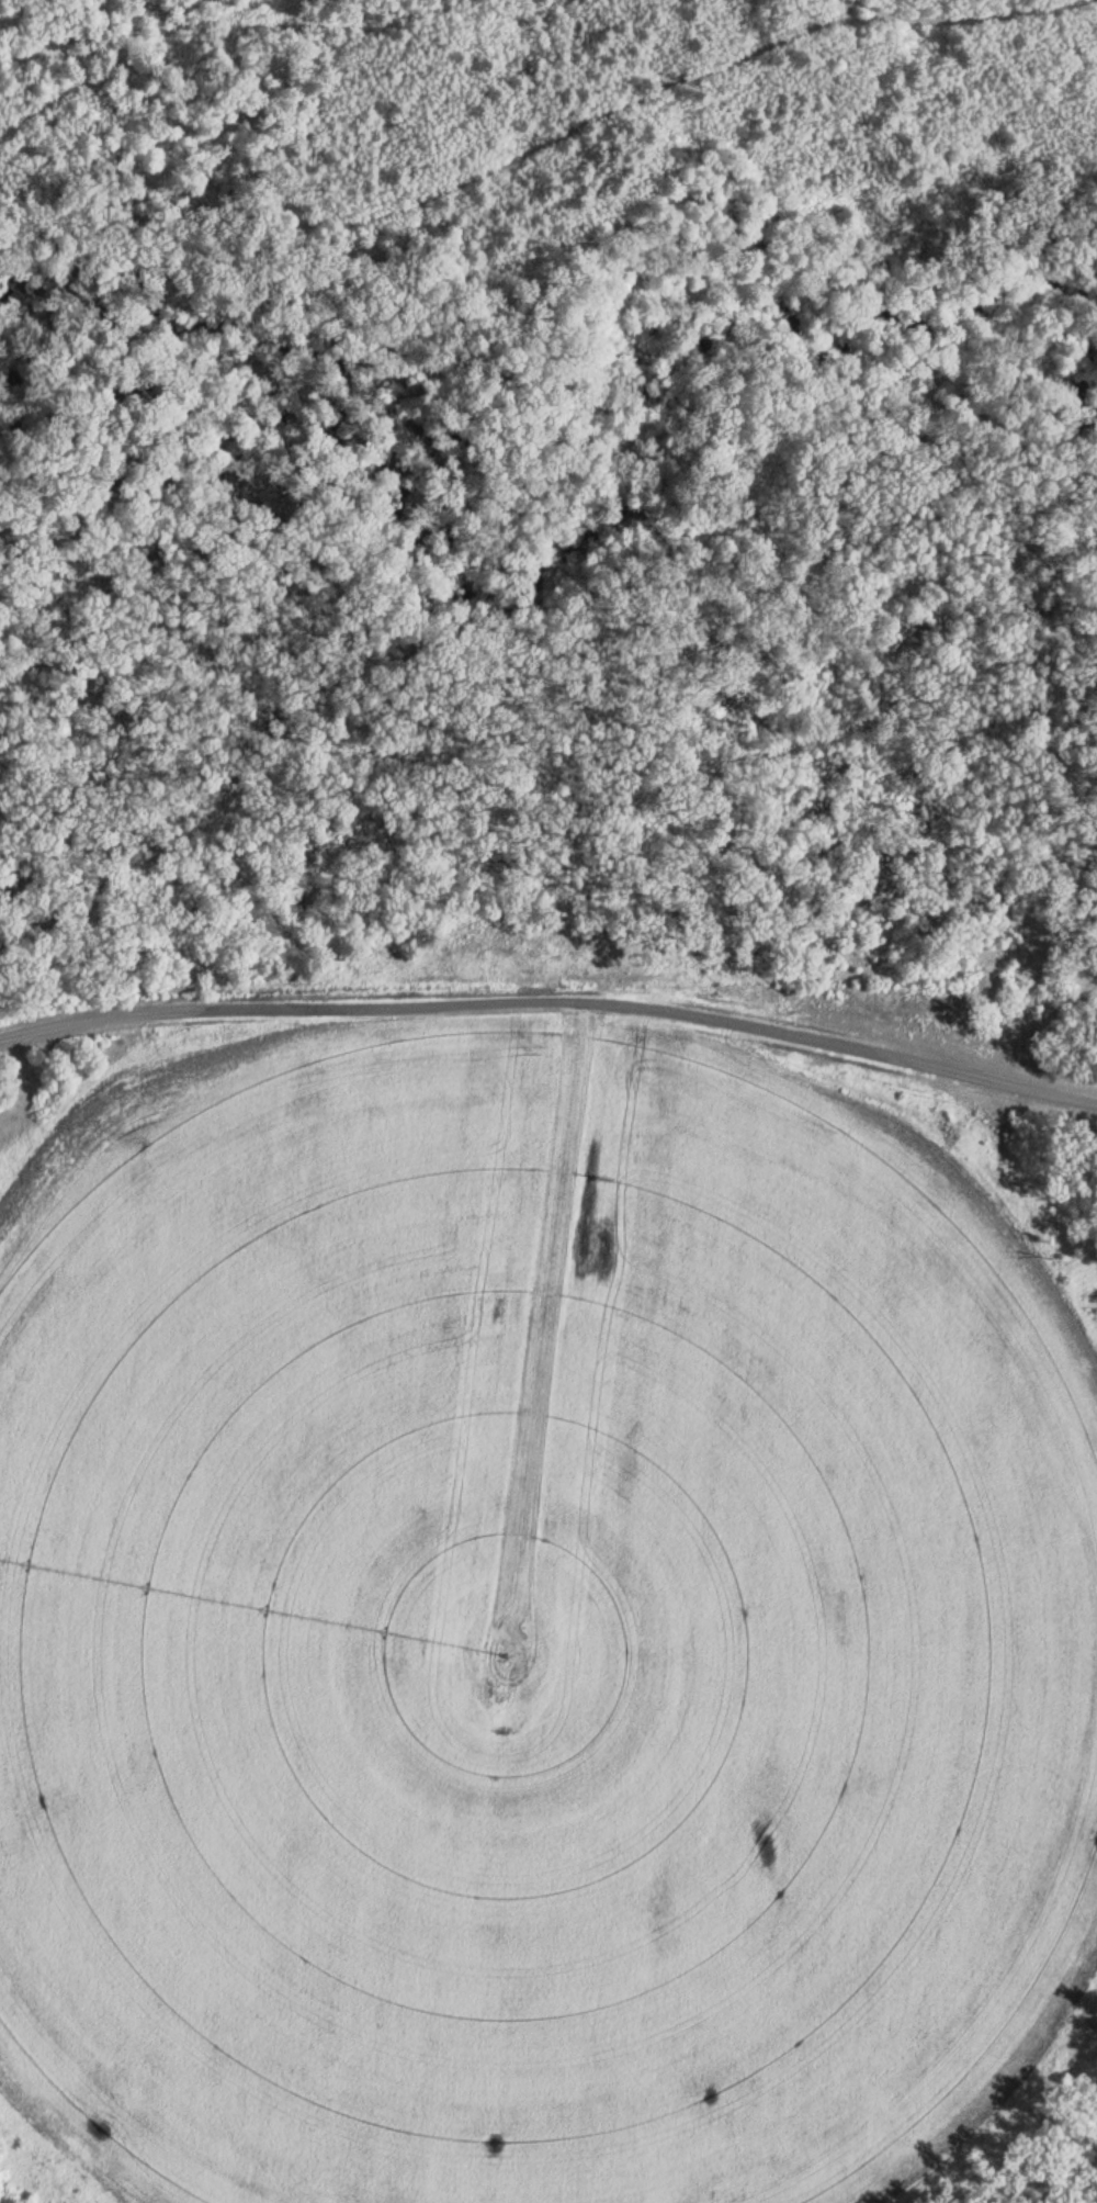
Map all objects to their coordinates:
road: (539, 147)
road: (577, 271)
road: (548, 652)
road: (644, 855)
road: (546, 994)
wastewater plant: (550, 1604)

